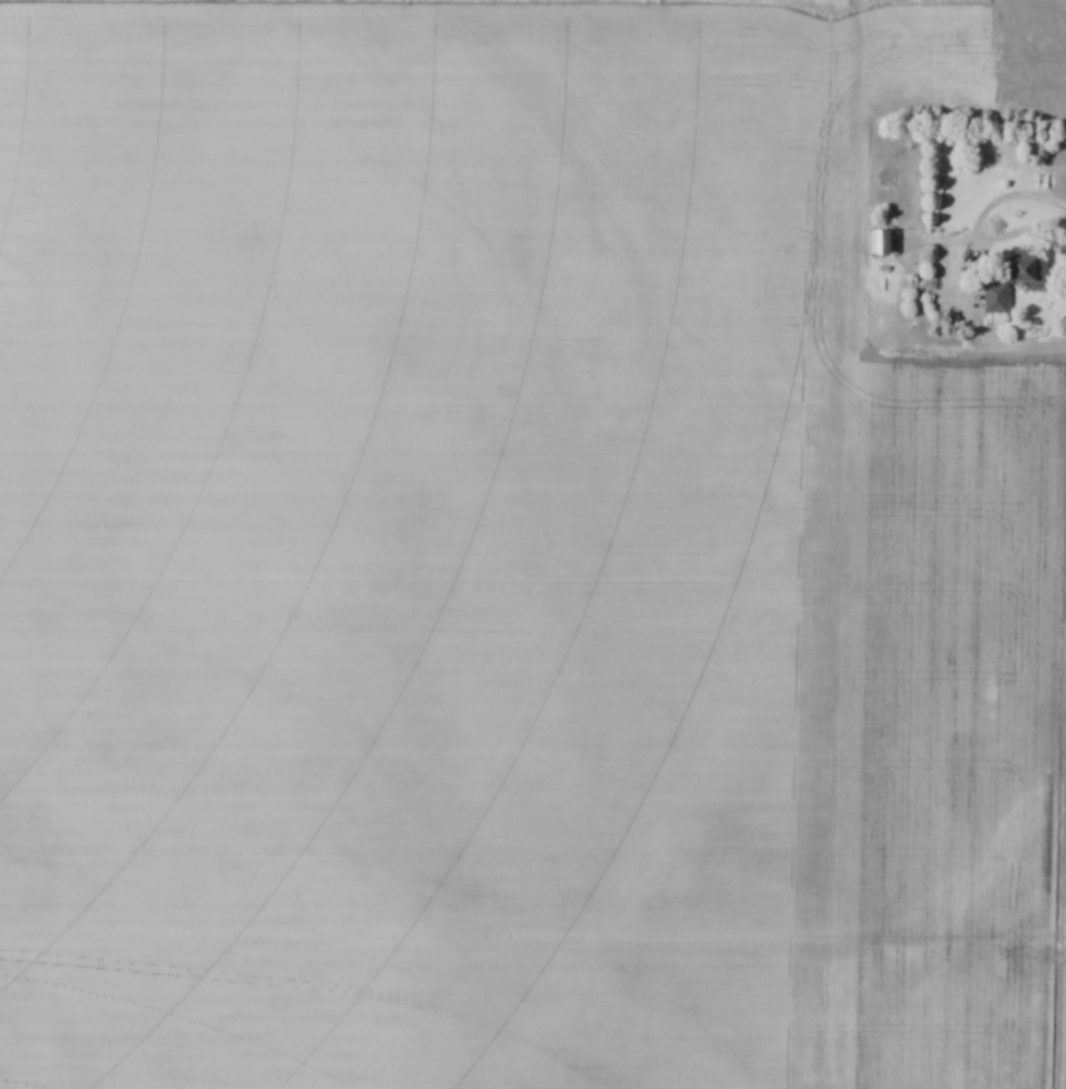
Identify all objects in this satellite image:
building: (879, 242)
building: (1012, 279)

